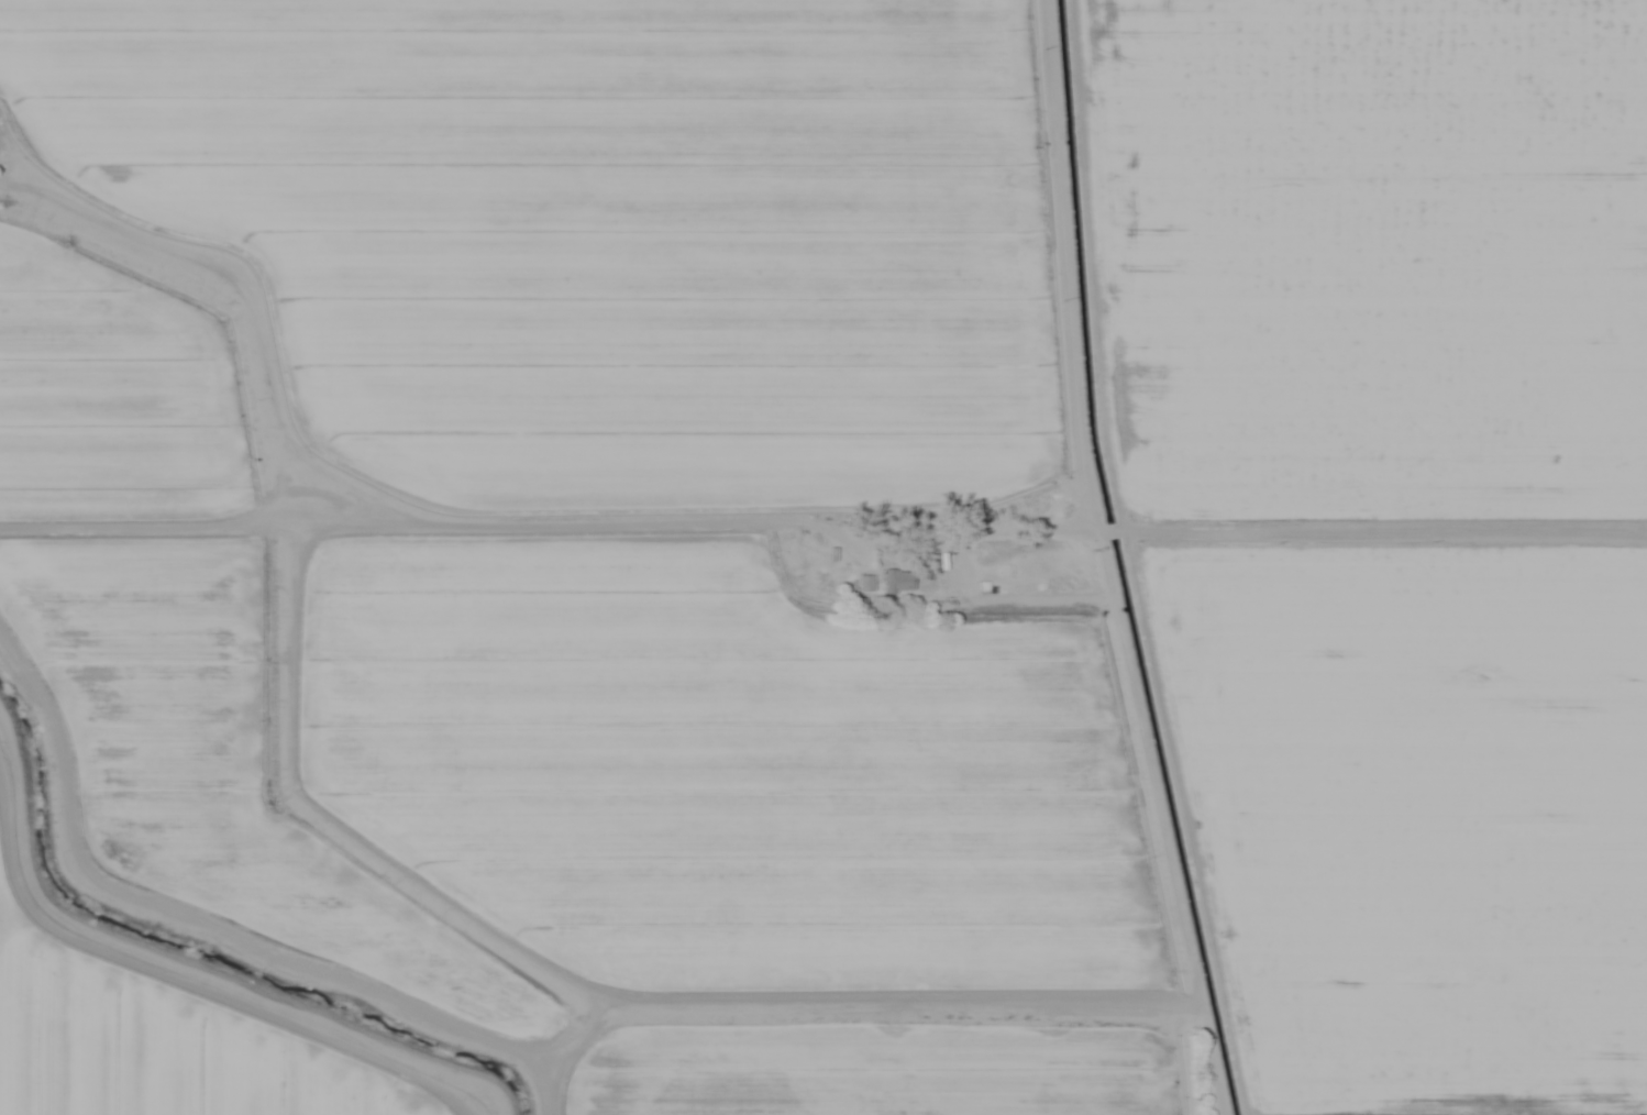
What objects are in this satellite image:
building: (897, 582)

